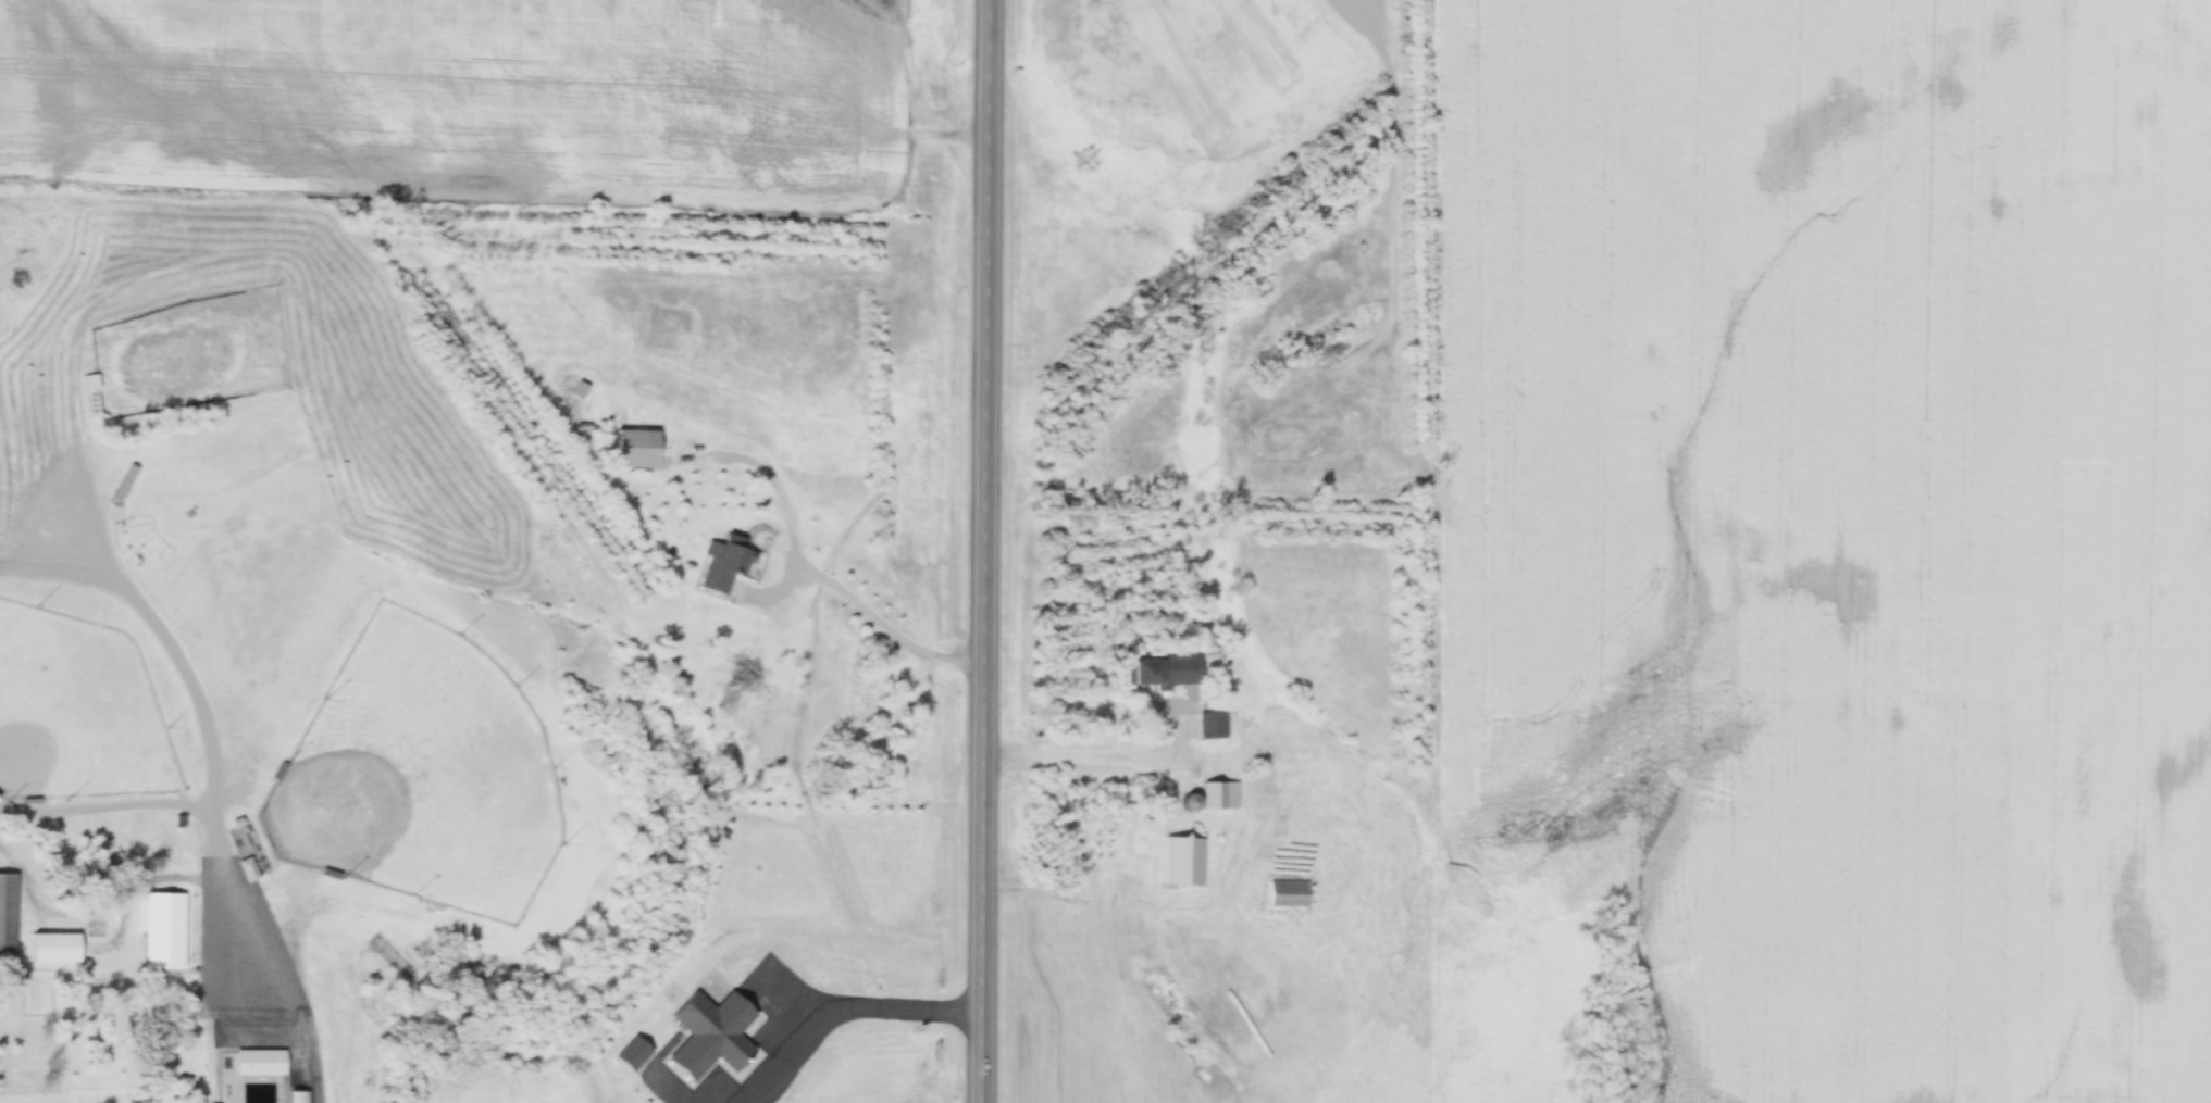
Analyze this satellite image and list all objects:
building: (89, 383)
building: (632, 448)
building: (124, 480)
road: (984, 551)
building: (713, 566)
road: (873, 611)
building: (1159, 670)
park: (77, 709)
building: (1209, 725)
road: (1101, 756)
park: (415, 773)
road: (213, 782)
building: (1218, 794)
building: (1183, 858)
building: (1289, 893)
building: (9, 915)
building: (162, 930)
building: (58, 944)
road: (879, 1011)
building: (712, 1037)
building: (263, 1061)

